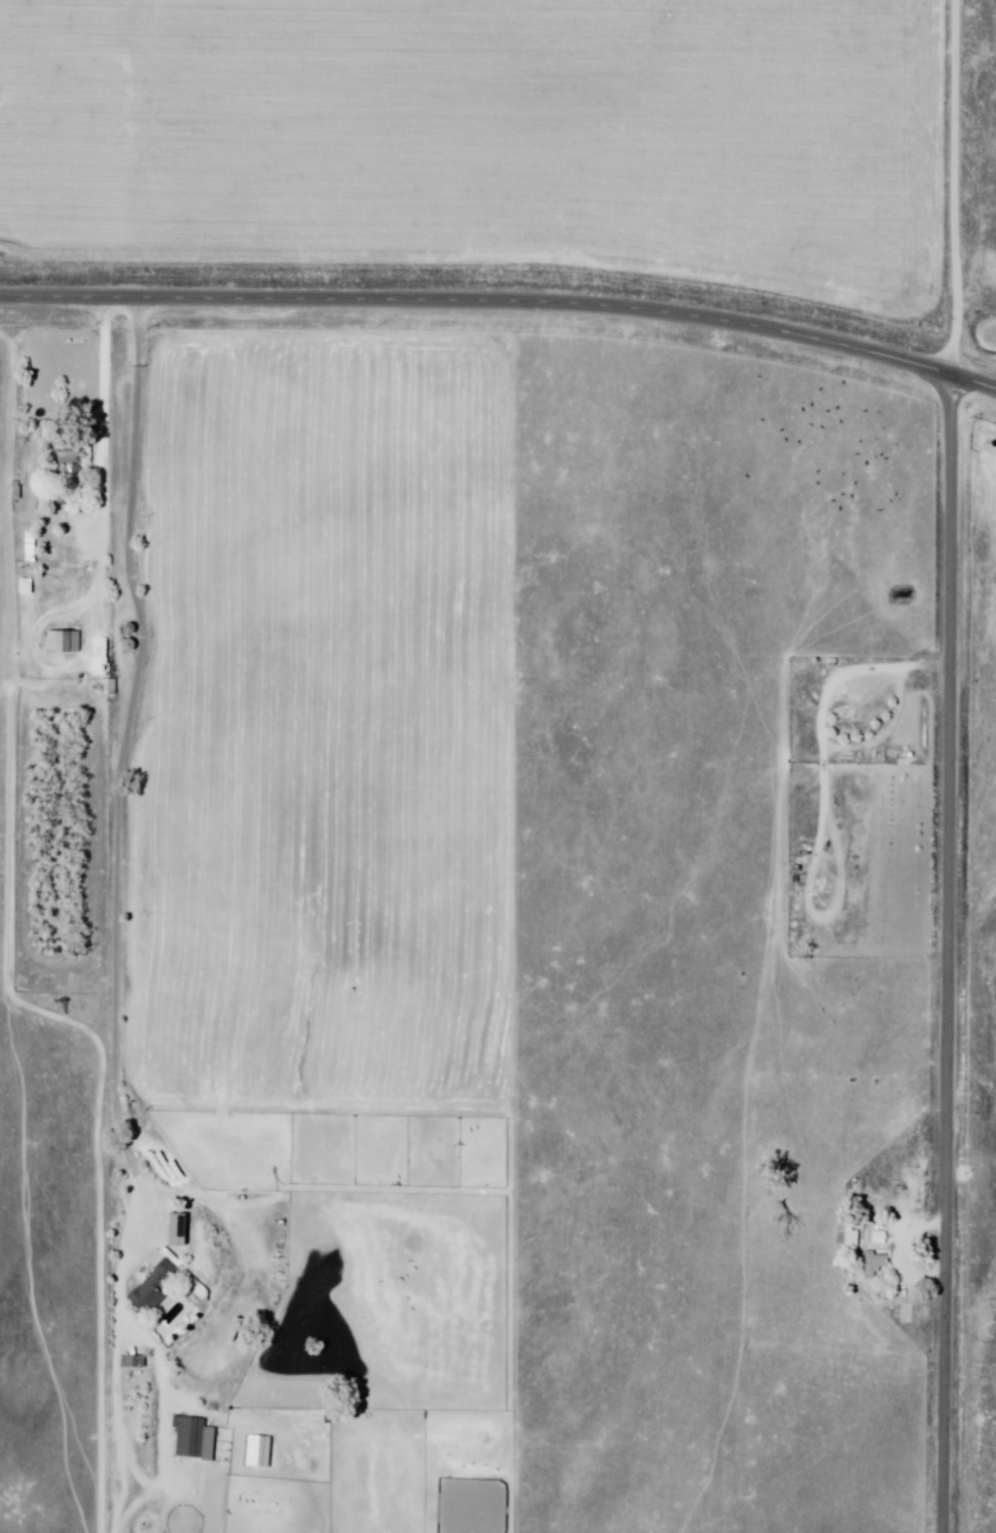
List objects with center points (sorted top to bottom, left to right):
road: (503, 305)
building: (67, 463)
building: (30, 547)
building: (62, 642)
building: (107, 688)
road: (950, 955)
building: (175, 1230)
building: (849, 1236)
building: (873, 1265)
building: (151, 1289)
building: (189, 1438)

